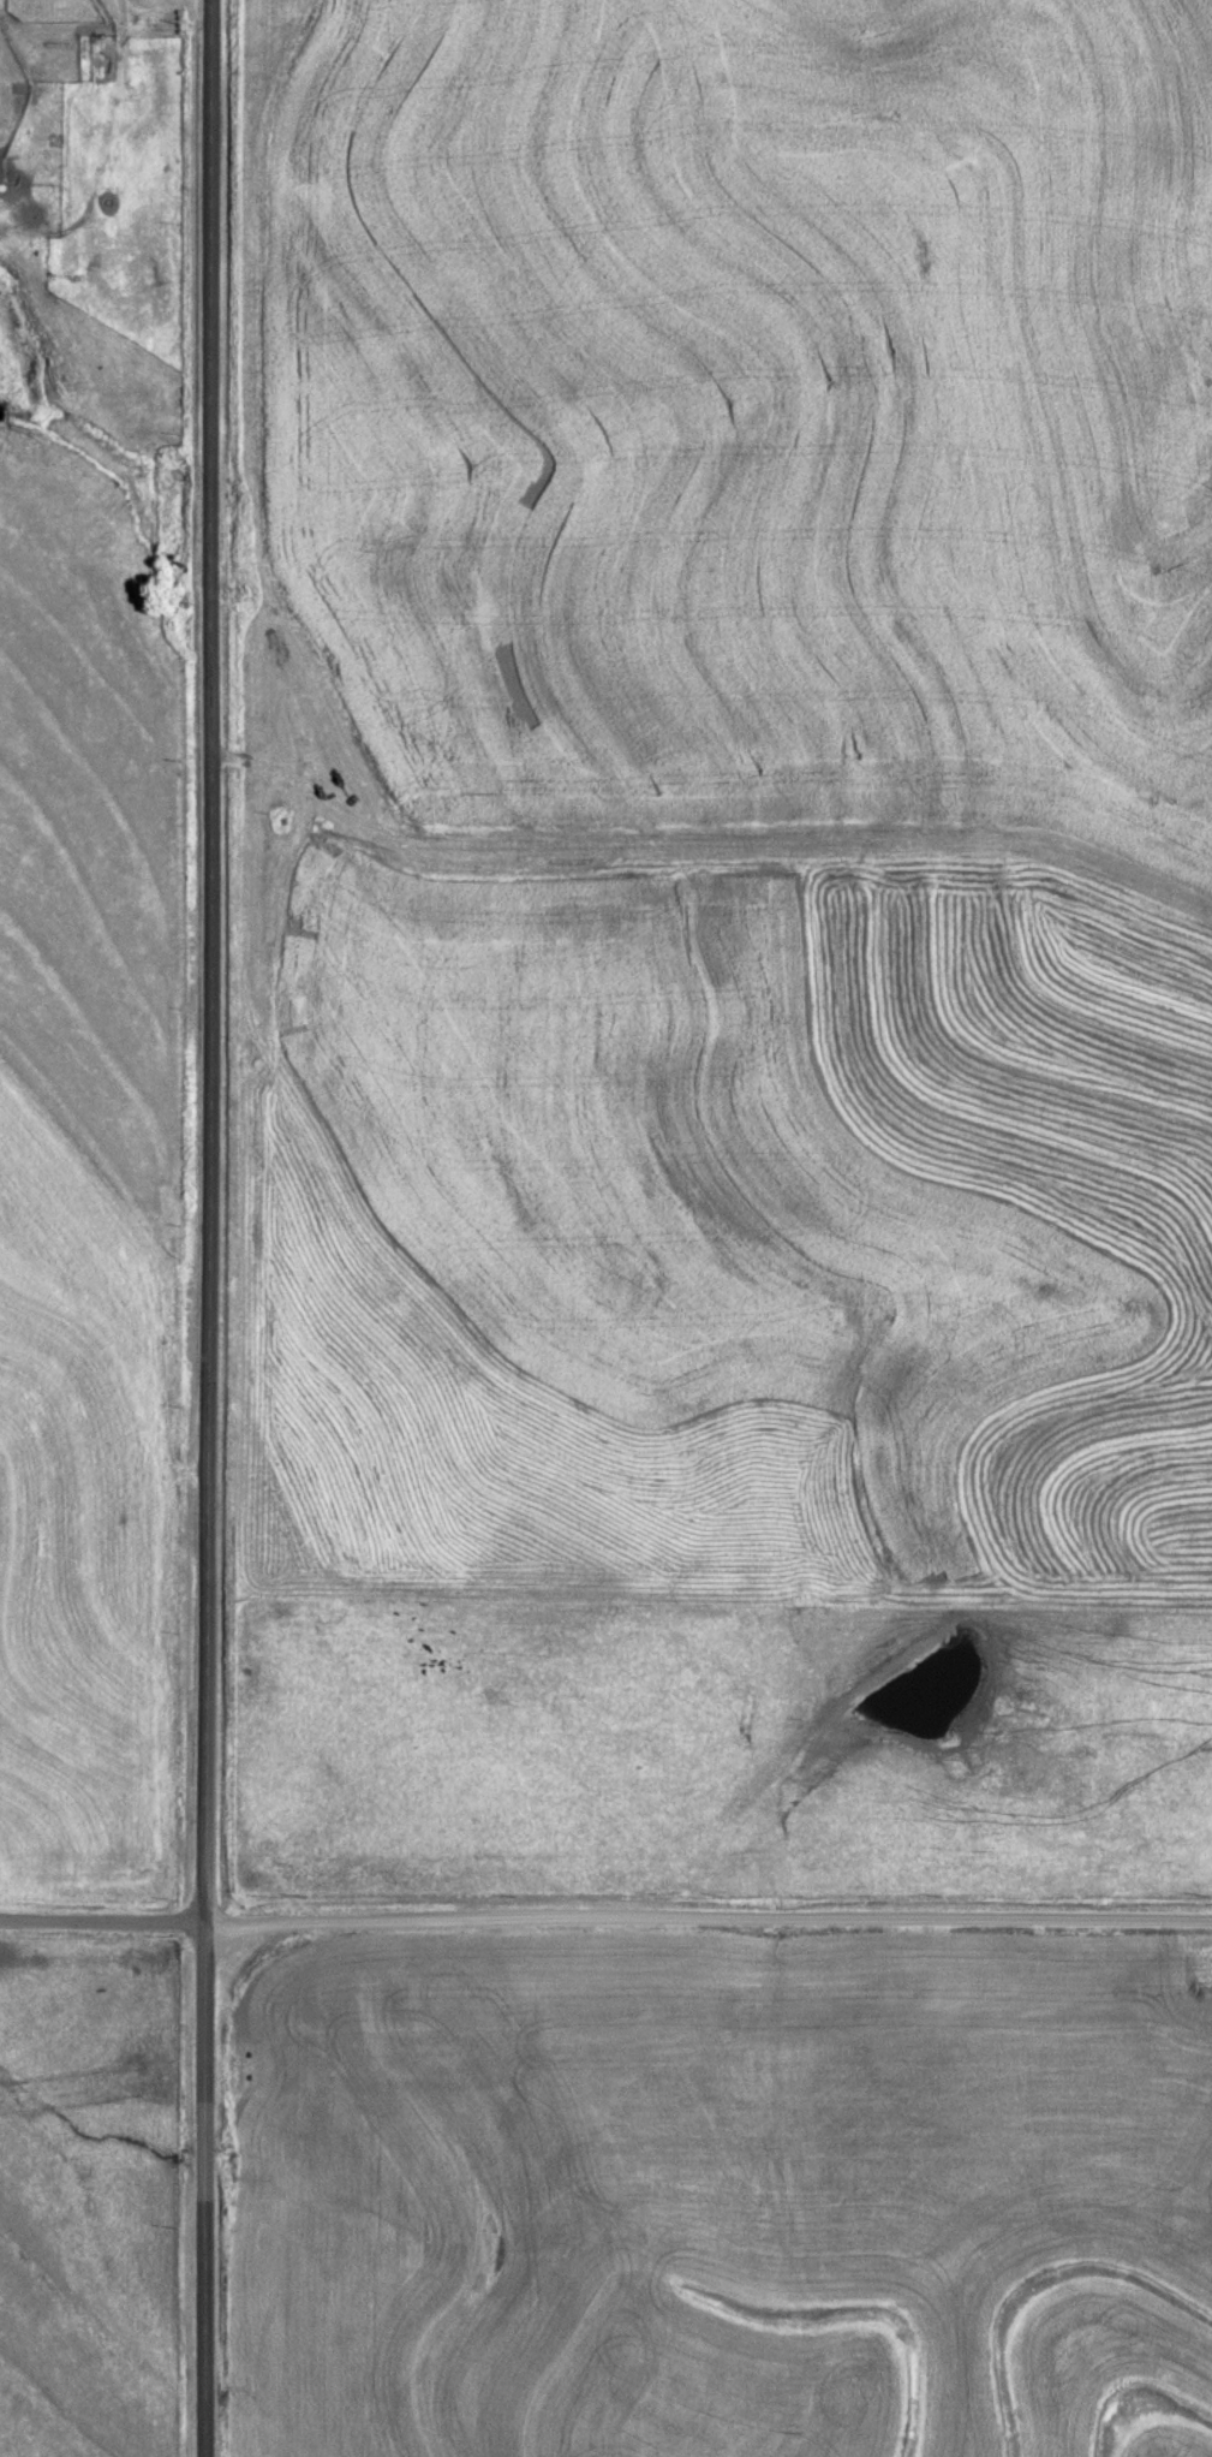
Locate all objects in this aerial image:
road: (199, 1228)
road: (98, 1932)
road: (705, 1932)

